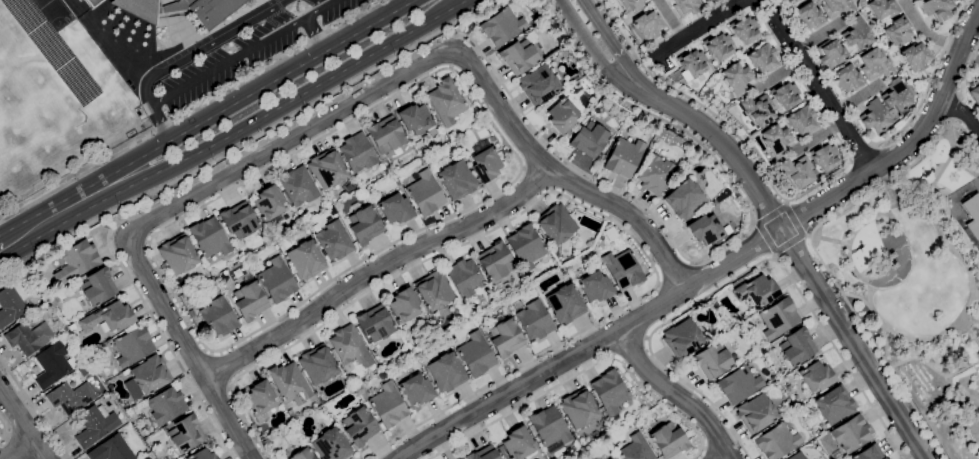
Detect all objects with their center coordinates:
building: (80, 0)
building: (707, 0)
building: (710, 0)
building: (916, 0)
road: (463, 1)
building: (189, 2)
building: (93, 3)
building: (630, 4)
building: (171, 7)
building: (685, 7)
building: (836, 7)
building: (139, 8)
building: (882, 8)
building: (936, 9)
building: (213, 11)
building: (808, 17)
road: (668, 19)
building: (648, 25)
building: (501, 27)
road: (697, 27)
building: (744, 29)
building: (897, 31)
road: (315, 34)
building: (856, 34)
road: (934, 37)
road: (609, 39)
road: (590, 45)
building: (719, 47)
parking lot: (248, 50)
road: (244, 52)
road: (797, 52)
building: (830, 53)
road: (957, 53)
building: (519, 54)
road: (186, 55)
building: (915, 57)
building: (762, 58)
building: (693, 63)
building: (874, 64)
road: (967, 70)
building: (736, 79)
building: (847, 79)
road: (929, 81)
road: (815, 84)
building: (537, 85)
road: (257, 88)
park: (18, 92)
building: (975, 92)
building: (785, 95)
building: (895, 96)
road: (958, 96)
road: (692, 99)
building: (445, 102)
road: (288, 103)
road: (954, 107)
road: (193, 110)
building: (757, 110)
road: (820, 111)
road: (648, 112)
building: (140, 113)
road: (837, 113)
road: (962, 113)
building: (561, 115)
building: (874, 117)
building: (414, 119)
building: (801, 120)
road: (951, 120)
building: (385, 134)
building: (425, 138)
building: (492, 138)
road: (248, 140)
building: (588, 140)
building: (775, 140)
road: (283, 146)
building: (357, 152)
road: (860, 154)
building: (624, 157)
building: (824, 157)
building: (484, 161)
building: (327, 169)
building: (796, 171)
road: (941, 171)
road: (555, 174)
road: (589, 174)
building: (655, 174)
road: (517, 175)
building: (455, 179)
building: (298, 186)
building: (349, 187)
building: (726, 192)
road: (890, 192)
building: (425, 193)
road: (563, 195)
building: (684, 200)
road: (787, 201)
road: (874, 202)
building: (269, 205)
building: (395, 209)
road: (62, 210)
building: (333, 213)
road: (770, 213)
road: (796, 219)
building: (238, 220)
building: (972, 220)
road: (752, 222)
building: (363, 224)
building: (557, 229)
building: (704, 229)
road: (938, 229)
road: (809, 237)
building: (209, 238)
road: (765, 239)
building: (332, 240)
road: (831, 240)
road: (9, 241)
road: (791, 246)
building: (525, 247)
road: (795, 252)
road: (816, 253)
building: (177, 254)
road: (775, 258)
building: (305, 260)
building: (76, 262)
building: (494, 262)
road: (374, 269)
building: (622, 269)
building: (163, 270)
road: (674, 272)
road: (742, 273)
building: (464, 278)
building: (276, 280)
park: (919, 280)
building: (595, 287)
building: (500, 288)
building: (95, 289)
building: (433, 291)
building: (756, 291)
road: (680, 293)
road: (974, 294)
building: (53, 299)
building: (249, 299)
building: (480, 301)
building: (564, 304)
building: (10, 305)
building: (403, 306)
building: (109, 317)
building: (218, 317)
road: (878, 317)
building: (778, 318)
building: (534, 320)
road: (969, 321)
building: (374, 324)
building: (71, 327)
road: (966, 328)
road: (959, 331)
road: (163, 336)
building: (28, 337)
building: (504, 338)
building: (682, 338)
road: (976, 341)
building: (347, 344)
building: (132, 346)
road: (957, 346)
building: (796, 347)
road: (188, 348)
road: (630, 348)
building: (76, 349)
building: (762, 352)
building: (475, 355)
building: (711, 361)
building: (317, 364)
building: (52, 366)
road: (934, 367)
road: (221, 369)
road: (584, 370)
building: (445, 373)
building: (150, 374)
building: (816, 377)
building: (288, 382)
building: (738, 385)
building: (415, 390)
building: (609, 393)
road: (676, 393)
building: (70, 397)
building: (259, 400)
building: (166, 405)
building: (387, 405)
building: (834, 405)
road: (35, 408)
building: (578, 409)
building: (800, 410)
building: (756, 413)
building: (604, 424)
road: (22, 425)
building: (95, 425)
building: (358, 427)
road: (3, 429)
building: (549, 429)
building: (185, 433)
building: (851, 434)
building: (691, 436)
building: (668, 440)
building: (776, 442)
building: (265, 443)
building: (517, 444)
building: (330, 445)
road: (15, 446)
building: (112, 449)
building: (635, 449)
road: (19, 451)
road: (706, 453)
building: (868, 453)
building: (302, 454)
building: (483, 454)
building: (202, 455)
building: (796, 456)
road: (725, 457)
building: (457, 458)
building: (612, 458)

